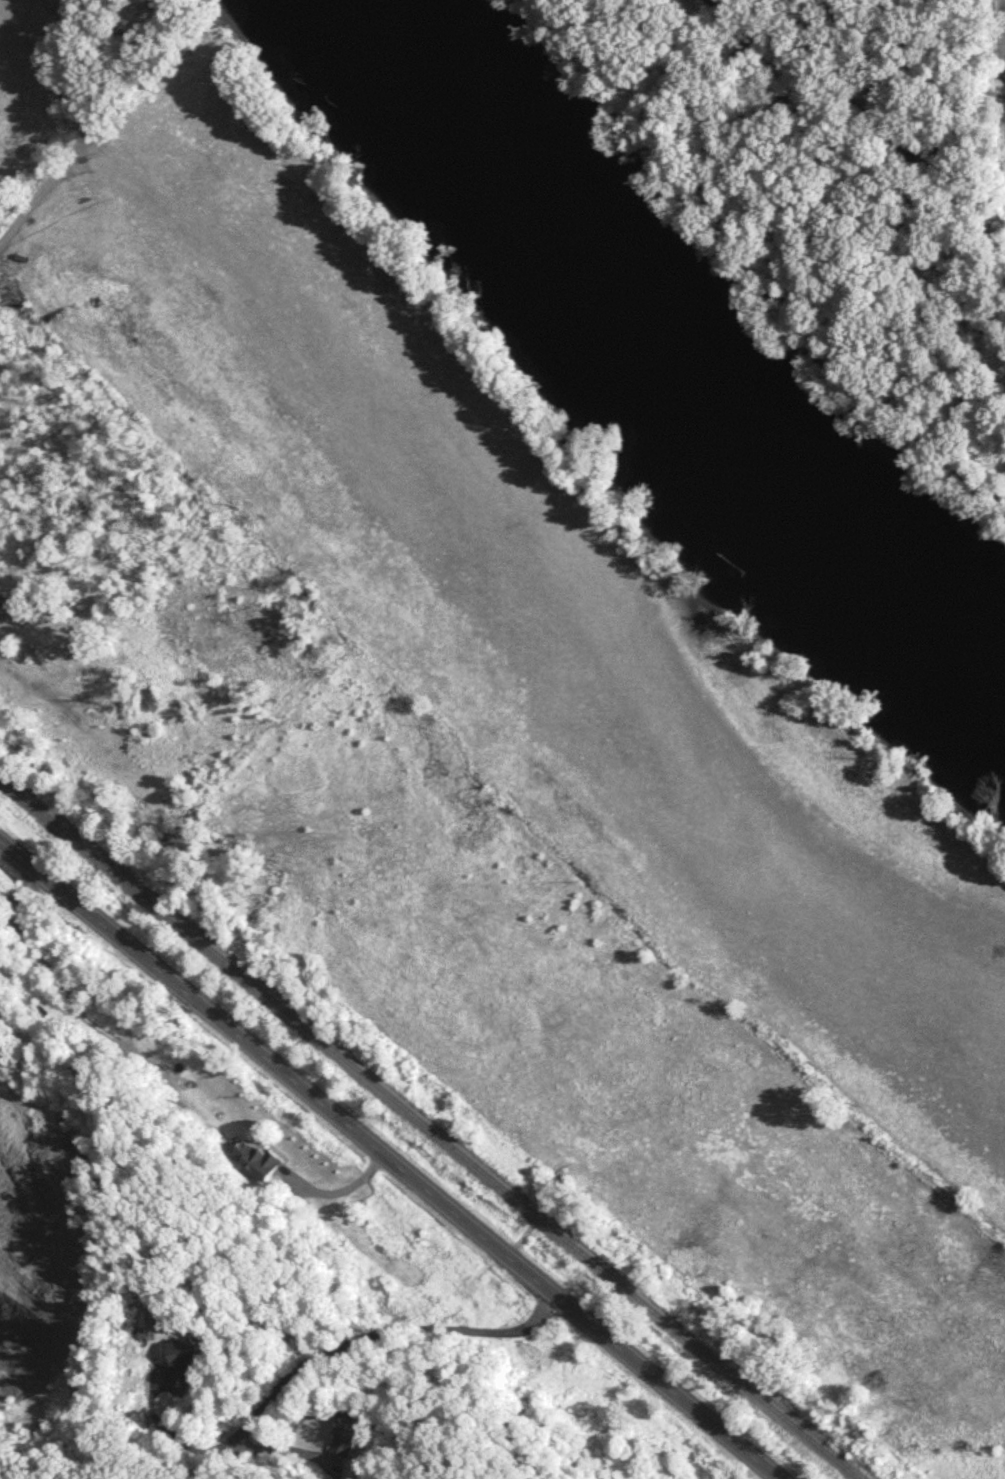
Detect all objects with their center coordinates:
river: (673, 359)
railway: (420, 1130)
building: (256, 1160)
road: (389, 1160)
road: (339, 1191)
road: (318, 1357)
building: (179, 1363)
building: (347, 1433)

